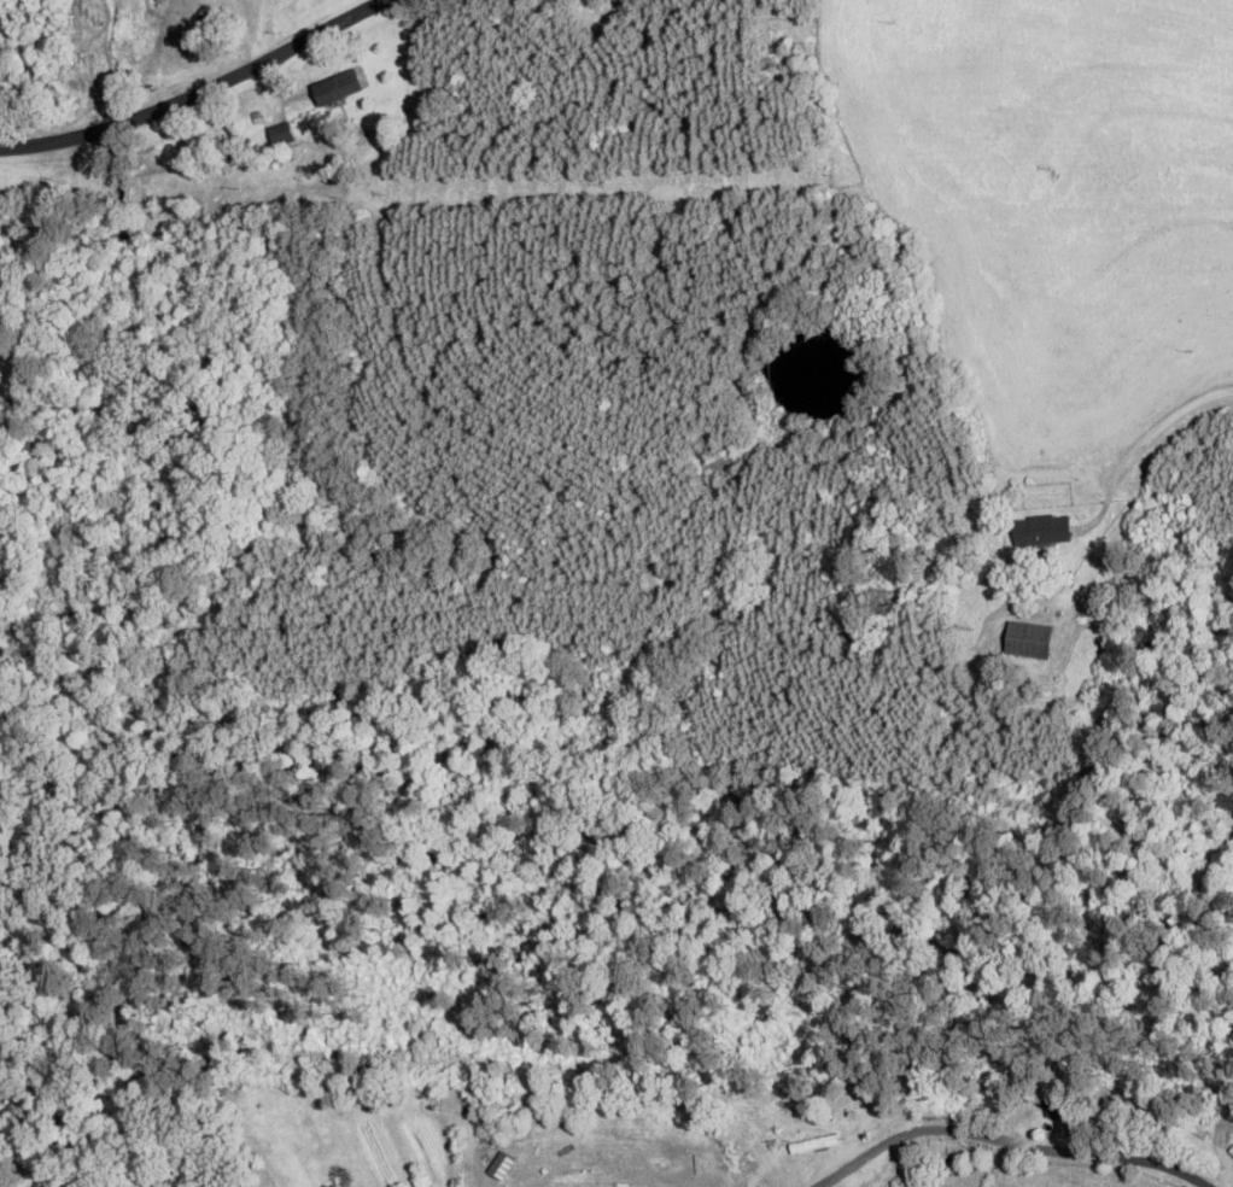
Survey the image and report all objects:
building: (338, 88)
road: (194, 90)
building: (281, 134)
road: (1150, 442)
building: (1044, 531)
building: (1029, 641)
building: (1056, 1107)
road: (1086, 1156)
building: (674, 1175)

